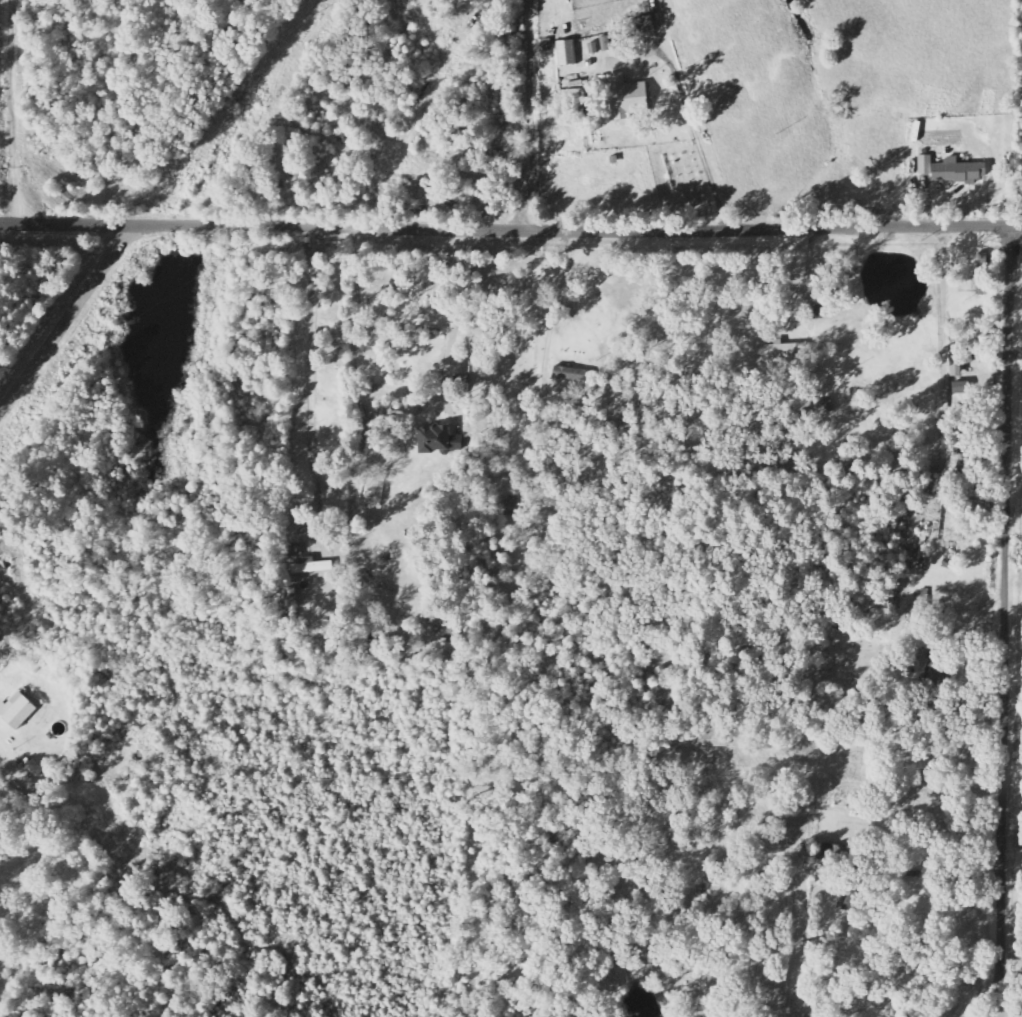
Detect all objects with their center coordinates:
building: (608, 42)
building: (567, 53)
building: (624, 96)
building: (952, 170)
road: (511, 230)
road: (65, 317)
building: (573, 374)
road: (312, 379)
building: (567, 413)
building: (433, 440)
building: (311, 567)
road: (1006, 621)
building: (17, 712)
building: (714, 741)

